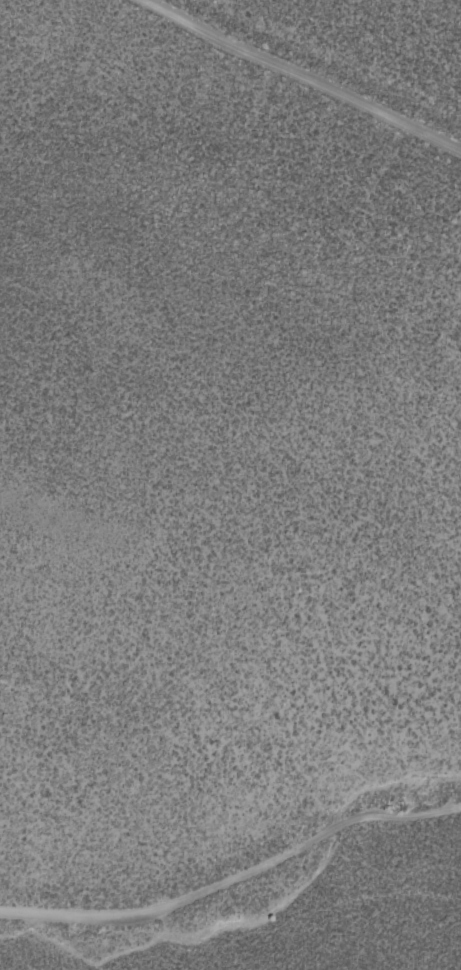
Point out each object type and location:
road: (298, 79)
road: (233, 876)

